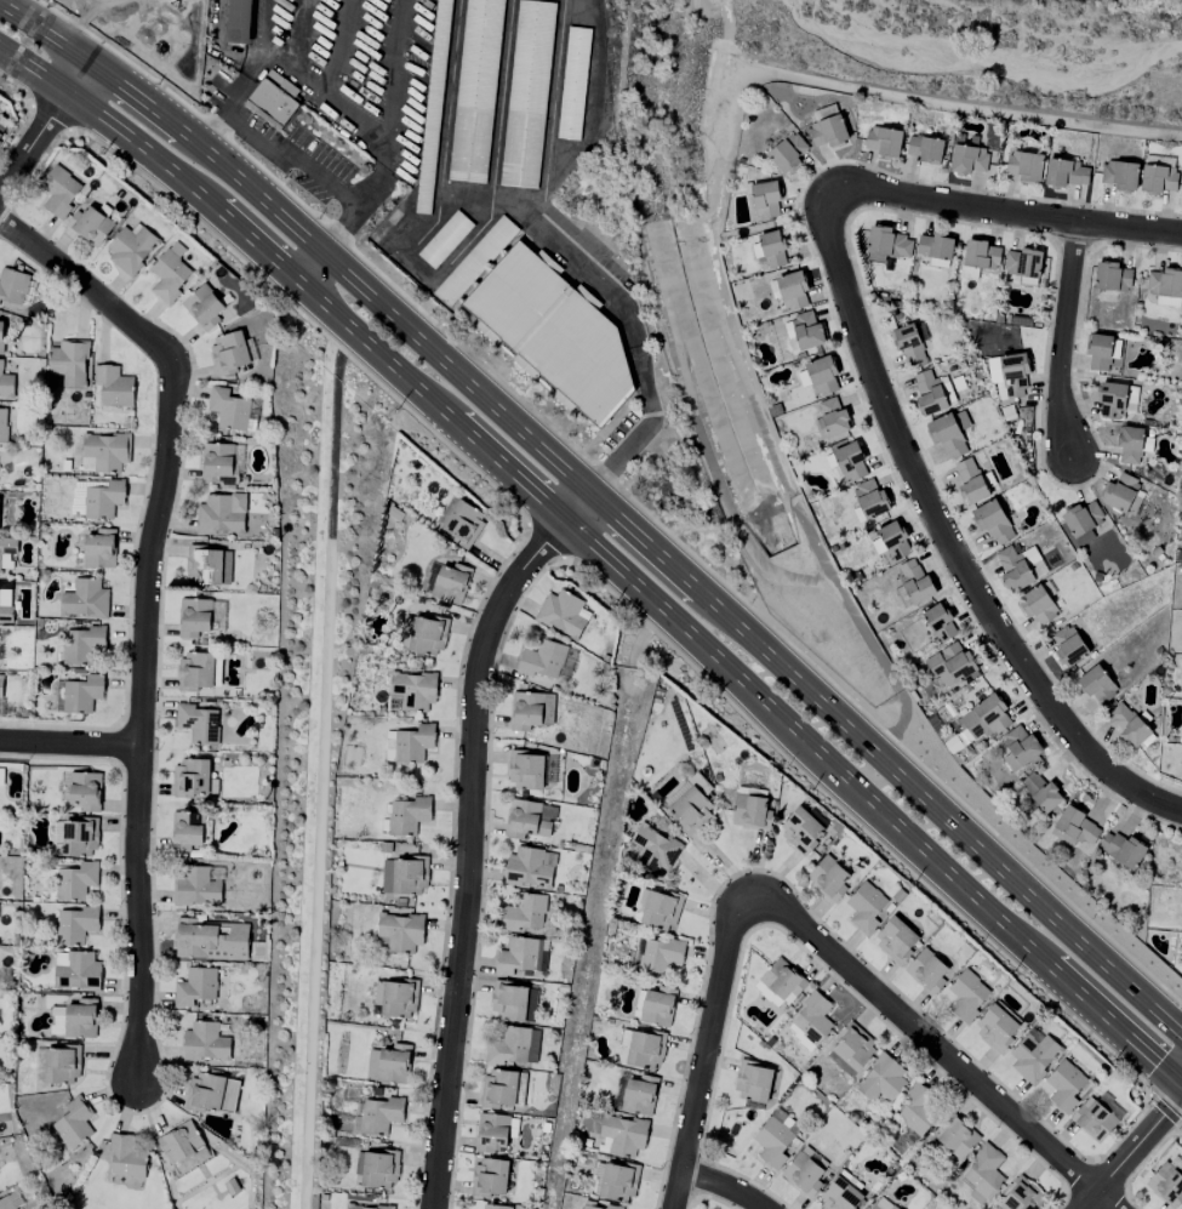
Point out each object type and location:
building: (239, 21)
road: (11, 82)
building: (573, 85)
road: (24, 86)
building: (478, 91)
building: (529, 95)
road: (246, 97)
road: (918, 98)
building: (275, 105)
building: (438, 108)
road: (52, 116)
road: (44, 127)
road: (84, 130)
building: (828, 132)
building: (0, 133)
building: (884, 142)
road: (369, 149)
building: (925, 149)
building: (788, 153)
building: (967, 155)
building: (1026, 166)
building: (1067, 173)
building: (1120, 175)
building: (1159, 178)
road: (315, 183)
road: (371, 190)
building: (57, 192)
building: (766, 199)
road: (1007, 210)
building: (91, 226)
building: (445, 240)
building: (887, 245)
building: (936, 246)
building: (131, 249)
building: (773, 249)
building: (981, 256)
building: (1023, 266)
building: (170, 273)
building: (1112, 276)
building: (1165, 283)
building: (12, 286)
building: (29, 291)
building: (793, 291)
building: (1167, 302)
building: (204, 307)
road: (306, 318)
building: (539, 323)
building: (807, 331)
building: (1, 337)
road: (1066, 340)
building: (909, 347)
building: (229, 353)
road: (636, 353)
building: (69, 363)
building: (822, 375)
building: (1009, 375)
building: (804, 378)
building: (6, 383)
building: (114, 386)
building: (929, 393)
building: (228, 409)
building: (833, 416)
building: (2, 426)
road: (765, 432)
building: (949, 433)
building: (1130, 444)
building: (107, 451)
building: (850, 462)
building: (971, 481)
road: (617, 487)
road: (721, 492)
building: (1120, 492)
building: (104, 500)
building: (870, 500)
road: (603, 504)
building: (222, 514)
building: (993, 521)
building: (1083, 521)
building: (463, 524)
road: (949, 538)
road: (530, 540)
road: (546, 541)
building: (895, 541)
building: (878, 546)
building: (99, 549)
building: (7, 553)
road: (600, 558)
road: (581, 560)
building: (209, 566)
building: (1013, 568)
building: (914, 581)
building: (451, 583)
building: (85, 599)
building: (1038, 605)
building: (5, 606)
road: (145, 608)
building: (563, 614)
building: (194, 617)
building: (940, 623)
building: (424, 634)
road: (643, 639)
building: (84, 645)
building: (1069, 645)
building: (542, 660)
building: (952, 665)
building: (195, 671)
building: (1097, 685)
building: (0, 686)
building: (413, 690)
building: (82, 694)
building: (526, 711)
building: (984, 718)
building: (198, 724)
building: (1129, 725)
road: (902, 726)
park: (313, 728)
road: (69, 743)
building: (413, 743)
building: (388, 746)
building: (1018, 747)
road: (324, 770)
building: (526, 770)
building: (1, 776)
building: (190, 779)
building: (85, 791)
building: (680, 791)
building: (1040, 791)
building: (691, 810)
building: (750, 811)
building: (407, 815)
building: (525, 820)
road: (861, 827)
building: (1075, 828)
building: (187, 831)
building: (801, 831)
road: (470, 833)
building: (75, 838)
building: (652, 849)
building: (1123, 850)
building: (529, 868)
building: (405, 876)
building: (829, 878)
building: (76, 882)
building: (194, 886)
building: (866, 907)
building: (659, 909)
building: (524, 913)
building: (75, 925)
building: (400, 931)
road: (593, 939)
building: (896, 939)
building: (211, 940)
building: (661, 956)
building: (521, 957)
building: (76, 971)
building: (927, 971)
building: (780, 983)
building: (195, 987)
building: (967, 994)
building: (395, 998)
building: (513, 1002)
building: (658, 1006)
building: (81, 1019)
building: (812, 1019)
building: (995, 1027)
building: (205, 1043)
building: (512, 1047)
road: (937, 1048)
building: (645, 1049)
building: (851, 1050)
road: (709, 1053)
building: (1033, 1057)
building: (388, 1063)
building: (62, 1065)
road: (1146, 1079)
building: (881, 1080)
building: (753, 1082)
building: (1064, 1085)
building: (499, 1089)
building: (210, 1091)
building: (639, 1095)
building: (919, 1108)
road: (1167, 1112)
building: (379, 1116)
building: (1094, 1119)
building: (786, 1120)
building: (74, 1123)
building: (492, 1133)
building: (624, 1135)
road: (1167, 1135)
building: (957, 1137)
building: (181, 1142)
building: (772, 1142)
road: (1131, 1152)
building: (126, 1157)
building: (1176, 1164)
building: (377, 1169)
building: (984, 1171)
building: (804, 1174)
building: (490, 1177)
building: (615, 1181)
road: (727, 1181)
building: (1166, 1185)
building: (840, 1196)
building: (1022, 1196)
building: (5, 1203)
building: (881, 1204)
building: (596, 1205)
building: (365, 1207)
building: (495, 1207)

